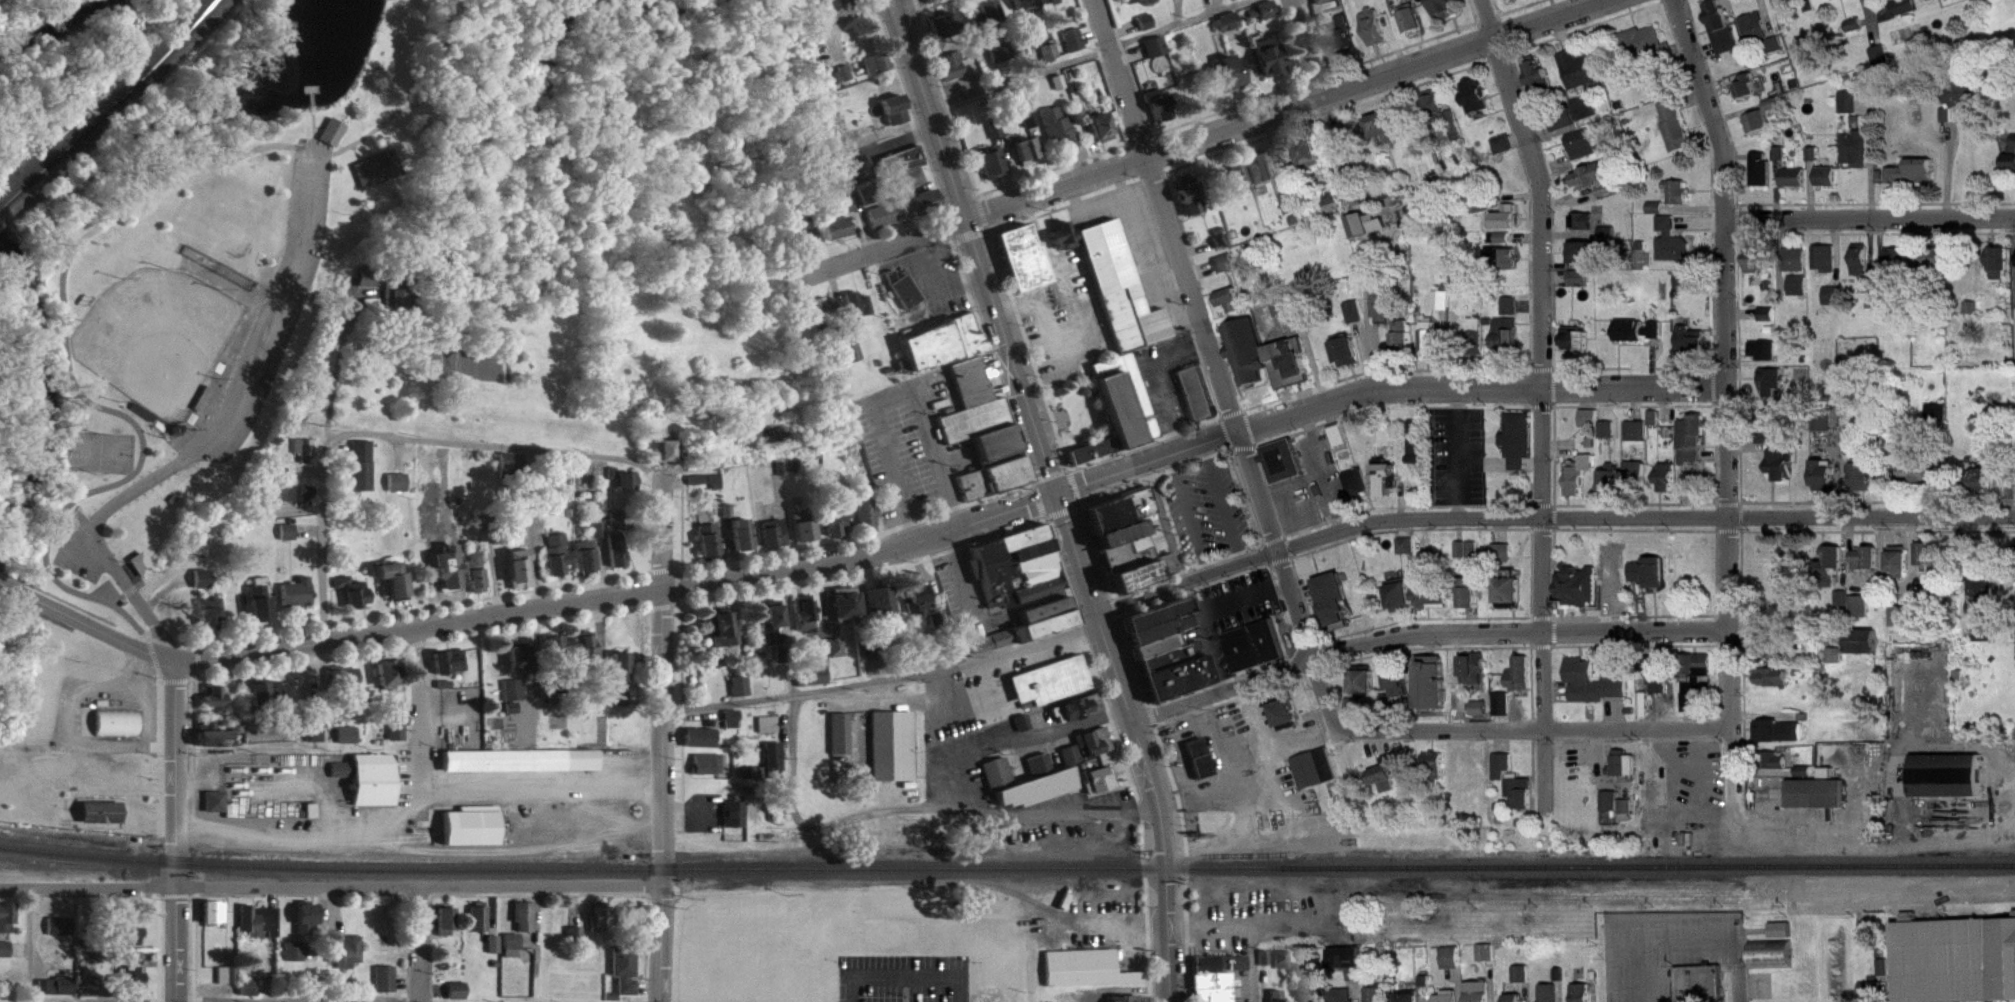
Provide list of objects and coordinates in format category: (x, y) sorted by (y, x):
building: (820, 0)
building: (1051, 0)
building: (1022, 2)
building: (1784, 2)
road: (936, 3)
building: (1809, 4)
building: (1904, 4)
building: (1131, 5)
building: (1324, 5)
road: (1496, 6)
road: (1871, 6)
road: (1513, 8)
road: (1474, 10)
road: (1884, 10)
road: (1177, 11)
building: (1447, 13)
building: (1908, 14)
road: (1767, 17)
building: (1269, 18)
road: (1312, 18)
road: (1113, 21)
building: (988, 22)
road: (1178, 22)
building: (1754, 24)
road: (1092, 25)
building: (1414, 26)
building: (1147, 30)
building: (1229, 30)
building: (945, 32)
road: (1092, 32)
building: (1376, 35)
building: (1724, 35)
building: (1072, 37)
road: (1289, 40)
building: (1764, 41)
building: (1774, 41)
building: (1343, 44)
building: (1048, 48)
building: (1075, 48)
road: (1307, 49)
building: (1645, 51)
building: (1157, 55)
building: (1052, 60)
building: (1003, 61)
building: (1883, 63)
building: (1270, 65)
building: (877, 72)
building: (952, 74)
building: (1582, 78)
building: (845, 81)
building: (1231, 81)
building: (1540, 84)
building: (1750, 95)
road: (428, 99)
railway: (116, 101)
building: (1961, 105)
building: (1480, 106)
road: (929, 109)
building: (1852, 111)
building: (1159, 113)
building: (1775, 113)
building: (1590, 116)
building: (896, 118)
building: (1031, 128)
building: (1566, 130)
building: (1761, 130)
building: (1678, 134)
building: (1104, 136)
building: (1060, 137)
building: (1385, 137)
road: (1200, 139)
building: (335, 140)
building: (1454, 140)
road: (1334, 145)
road: (322, 150)
building: (1507, 152)
building: (1584, 152)
building: (1859, 157)
building: (1029, 160)
building: (1310, 160)
building: (1783, 162)
building: (1816, 162)
building: (903, 169)
building: (2011, 170)
building: (993, 173)
building: (381, 177)
building: (1263, 178)
building: (1764, 178)
building: (1915, 180)
building: (1830, 185)
building: (1797, 186)
building: (911, 187)
building: (1598, 187)
building: (1240, 188)
railway: (5, 199)
building: (1680, 200)
building: (868, 204)
road: (1103, 204)
building: (1191, 204)
building: (1334, 211)
building: (847, 212)
building: (918, 212)
building: (1294, 212)
building: (1659, 216)
road: (1871, 219)
building: (883, 224)
building: (1507, 226)
building: (1586, 230)
building: (1369, 233)
building: (838, 237)
building: (1610, 240)
building: (1064, 244)
building: (1504, 245)
park: (405, 249)
building: (1223, 249)
building: (1674, 250)
road: (1142, 255)
building: (1584, 260)
building: (1507, 265)
building: (1023, 266)
building: (1932, 266)
building: (1761, 267)
building: (1828, 267)
building: (1799, 268)
building: (1864, 268)
building: (1900, 269)
building: (1227, 272)
building: (2002, 272)
building: (368, 286)
building: (1581, 286)
building: (1688, 288)
building: (1872, 292)
building: (1802, 294)
building: (905, 298)
building: (1122, 298)
building: (1887, 298)
building: (401, 299)
parking lot: (276, 304)
building: (1836, 304)
road: (1171, 308)
building: (1233, 308)
building: (1444, 308)
building: (1384, 310)
building: (1297, 311)
building: (860, 312)
building: (1512, 314)
building: (826, 316)
building: (1974, 316)
building: (1357, 320)
building: (1770, 322)
park: (155, 336)
building: (1657, 338)
road: (1368, 339)
building: (1632, 339)
building: (1478, 342)
building: (1509, 342)
building: (1405, 343)
building: (1434, 346)
building: (945, 351)
building: (1694, 351)
building: (1766, 358)
building: (854, 359)
building: (1250, 359)
building: (1349, 360)
road: (1728, 360)
road: (1213, 366)
building: (1292, 372)
road: (333, 373)
road: (69, 377)
building: (1774, 390)
road: (1539, 397)
building: (1199, 402)
building: (1126, 409)
building: (1941, 424)
building: (1591, 426)
building: (1655, 426)
building: (1826, 431)
road: (213, 435)
building: (1609, 438)
building: (1638, 439)
building: (984, 442)
building: (1341, 443)
road: (490, 445)
building: (1770, 446)
building: (1519, 448)
building: (1694, 448)
building: (1418, 450)
building: (1854, 450)
park: (98, 451)
building: (305, 458)
building: (1094, 459)
building: (667, 461)
building: (1285, 470)
building: (512, 472)
building: (1784, 473)
building: (363, 474)
building: (1923, 481)
building: (1580, 483)
building: (1637, 483)
building: (1826, 484)
building: (1866, 485)
building: (1387, 486)
building: (1669, 486)
building: (623, 487)
building: (708, 489)
building: (1610, 489)
building: (1984, 489)
building: (399, 491)
building: (1360, 491)
building: (298, 502)
road: (1221, 505)
road: (1187, 516)
building: (732, 520)
road: (1544, 521)
building: (868, 523)
building: (619, 526)
building: (840, 527)
road: (530, 529)
building: (482, 532)
building: (1124, 533)
building: (805, 535)
building: (600, 537)
building: (289, 540)
building: (459, 541)
building: (774, 541)
building: (743, 543)
building: (709, 548)
road: (320, 549)
road: (872, 550)
building: (1408, 554)
building: (618, 557)
building: (1469, 558)
building: (558, 563)
building: (587, 564)
building: (1835, 565)
building: (1929, 565)
building: (1869, 567)
building: (1901, 568)
building: (142, 573)
building: (450, 576)
building: (1019, 576)
building: (521, 577)
building: (1651, 580)
building: (478, 581)
building: (204, 587)
building: (395, 588)
road: (8, 591)
building: (1581, 596)
building: (355, 600)
building: (299, 601)
building: (1473, 601)
building: (1513, 601)
building: (1404, 603)
road: (1088, 607)
building: (1436, 608)
building: (1843, 608)
building: (261, 609)
building: (881, 609)
building: (920, 609)
building: (1338, 610)
building: (846, 611)
building: (1861, 615)
building: (1986, 617)
building: (805, 621)
building: (211, 623)
building: (1901, 625)
building: (1046, 628)
building: (773, 631)
road: (247, 635)
road: (1423, 635)
road: (147, 636)
road: (145, 637)
building: (726, 638)
road: (165, 641)
road: (189, 643)
building: (992, 650)
building: (1863, 650)
road: (151, 654)
building: (561, 654)
building: (589, 654)
building: (1258, 654)
building: (836, 656)
road: (195, 659)
building: (873, 659)
building: (1168, 659)
road: (986, 661)
building: (521, 664)
building: (1835, 664)
road: (255, 668)
building: (451, 670)
building: (623, 674)
road: (197, 675)
road: (174, 679)
road: (160, 681)
building: (390, 681)
building: (1522, 682)
building: (813, 684)
building: (346, 686)
building: (1775, 686)
road: (818, 688)
building: (1400, 688)
building: (1052, 689)
building: (1698, 690)
building: (1434, 691)
building: (1594, 691)
building: (1662, 691)
building: (1366, 692)
road: (419, 694)
building: (742, 694)
building: (515, 698)
building: (266, 701)
building: (620, 705)
building: (216, 709)
building: (1504, 712)
building: (1645, 712)
building: (514, 716)
building: (1483, 716)
building: (1079, 717)
building: (1356, 717)
building: (1290, 723)
building: (734, 728)
road: (1533, 729)
building: (118, 731)
building: (1023, 731)
building: (770, 733)
building: (313, 735)
road: (1016, 738)
building: (398, 740)
building: (1779, 740)
road: (664, 741)
building: (1232, 741)
building: (841, 742)
building: (348, 743)
building: (214, 744)
building: (702, 746)
building: (1096, 750)
building: (894, 755)
road: (1730, 755)
building: (1071, 762)
building: (1201, 767)
building: (522, 769)
building: (1777, 769)
building: (710, 772)
building: (1039, 772)
building: (1624, 772)
building: (770, 773)
building: (1438, 774)
building: (1504, 774)
building: (1318, 777)
building: (343, 778)
building: (998, 781)
building: (1390, 782)
building: (1948, 784)
building: (375, 788)
building: (1100, 788)
building: (1038, 797)
building: (1522, 801)
building: (1818, 802)
building: (1611, 809)
building: (217, 810)
building: (1626, 815)
road: (1090, 816)
road: (841, 817)
building: (104, 821)
building: (736, 821)
road: (175, 833)
building: (473, 834)
road: (160, 836)
railway: (1007, 867)
road: (541, 885)
road: (210, 887)
building: (215, 921)
building: (8, 925)
building: (527, 925)
building: (601, 925)
building: (480, 926)
building: (308, 927)
building: (261, 928)
building: (447, 930)
building: (62, 935)
building: (1784, 938)
building: (133, 942)
building: (577, 942)
road: (1682, 942)
road: (422, 944)
road: (27, 945)
building: (496, 953)
building: (514, 954)
building: (6, 958)
building: (296, 960)
building: (1488, 961)
building: (1775, 963)
building: (1957, 965)
building: (1454, 966)
building: (1348, 967)
building: (1284, 968)
building: (1222, 972)
road: (903, 975)
building: (1886, 976)
building: (1089, 977)
building: (627, 978)
parking lot: (902, 978)
building: (1524, 983)
building: (229, 984)
building: (387, 987)
building: (1702, 988)
building: (1215, 991)
building: (56, 994)
building: (87, 995)
building: (250, 995)
building: (459, 996)
building: (1482, 996)
building: (1873, 996)
building: (1552, 997)
building: (1584, 997)
road: (298, 998)
building: (1379, 999)
building: (1278, 1000)
building: (1414, 1001)
building: (1451, 1001)

